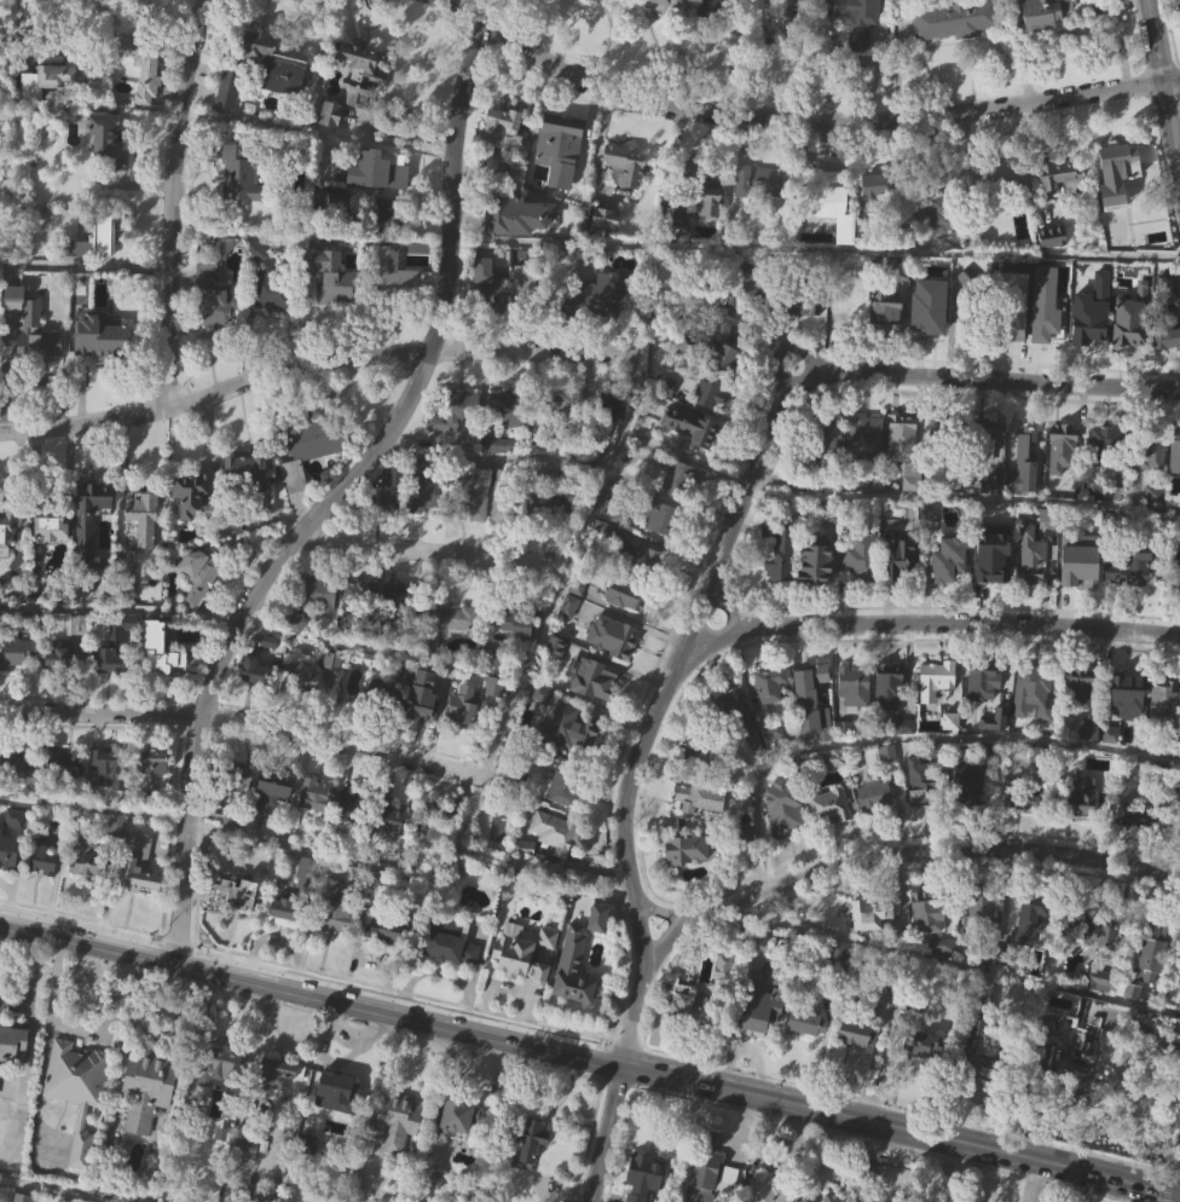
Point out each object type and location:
building: (1175, 2)
building: (665, 4)
building: (718, 10)
building: (600, 11)
building: (1046, 13)
building: (855, 18)
building: (956, 19)
building: (785, 23)
building: (665, 28)
building: (715, 30)
building: (1042, 34)
building: (955, 53)
building: (262, 68)
building: (145, 69)
building: (361, 71)
building: (47, 80)
road: (1164, 82)
building: (273, 94)
building: (361, 104)
building: (48, 112)
building: (328, 115)
building: (503, 119)
road: (796, 120)
building: (230, 121)
road: (314, 134)
building: (108, 139)
building: (336, 148)
building: (561, 148)
building: (626, 162)
building: (1122, 164)
building: (109, 171)
building: (382, 172)
building: (241, 174)
building: (508, 177)
building: (1058, 177)
building: (999, 178)
building: (560, 181)
building: (759, 181)
building: (705, 190)
building: (878, 190)
building: (826, 193)
building: (1120, 193)
building: (626, 196)
road: (173, 201)
building: (380, 203)
building: (999, 206)
building: (242, 207)
building: (383, 212)
building: (1060, 212)
building: (760, 213)
building: (947, 213)
building: (515, 215)
building: (606, 218)
building: (673, 223)
building: (330, 233)
building: (707, 235)
building: (832, 236)
building: (96, 238)
building: (1053, 238)
building: (387, 247)
building: (942, 247)
building: (514, 248)
building: (606, 250)
road: (86, 262)
building: (748, 264)
building: (105, 268)
building: (1053, 270)
building: (332, 276)
building: (268, 282)
building: (392, 284)
building: (487, 288)
building: (533, 294)
building: (598, 296)
building: (215, 297)
building: (800, 300)
building: (971, 305)
building: (392, 306)
building: (334, 308)
building: (1156, 312)
building: (1030, 314)
building: (885, 316)
building: (724, 317)
building: (526, 322)
building: (271, 325)
building: (31, 326)
building: (482, 328)
building: (926, 328)
building: (216, 329)
building: (600, 329)
building: (1088, 329)
building: (1122, 333)
building: (102, 336)
building: (1016, 337)
building: (1047, 339)
building: (886, 345)
building: (711, 352)
building: (33, 359)
building: (1129, 359)
road: (312, 363)
building: (105, 369)
building: (1165, 369)
road: (991, 381)
building: (711, 392)
building: (508, 409)
building: (452, 415)
building: (554, 420)
building: (602, 420)
building: (693, 427)
building: (902, 438)
building: (864, 439)
building: (949, 439)
building: (508, 443)
building: (1105, 443)
building: (981, 445)
building: (1062, 445)
building: (307, 447)
building: (1150, 450)
building: (1175, 451)
building: (815, 455)
road: (488, 458)
building: (689, 458)
building: (1025, 462)
building: (1071, 468)
building: (248, 472)
building: (864, 472)
building: (1106, 472)
building: (828, 473)
building: (314, 474)
building: (912, 478)
building: (679, 480)
building: (1175, 485)
building: (993, 489)
building: (1147, 489)
building: (389, 490)
building: (424, 490)
building: (193, 492)
building: (1106, 493)
building: (472, 495)
road: (962, 495)
road: (336, 496)
building: (510, 496)
building: (247, 501)
building: (553, 503)
building: (46, 514)
building: (1022, 514)
building: (141, 516)
building: (391, 520)
building: (666, 520)
building: (8, 524)
building: (1098, 524)
building: (91, 527)
building: (191, 527)
building: (1155, 527)
building: (428, 528)
building: (475, 536)
building: (932, 544)
building: (144, 549)
building: (664, 551)
building: (780, 551)
building: (91, 553)
road: (430, 553)
building: (995, 554)
building: (862, 557)
building: (641, 559)
building: (52, 560)
building: (900, 560)
building: (950, 560)
building: (6, 564)
building: (1034, 564)
building: (815, 565)
building: (1132, 567)
road: (565, 570)
building: (1080, 570)
building: (197, 574)
building: (125, 584)
building: (781, 588)
building: (1176, 588)
building: (861, 589)
building: (903, 590)
building: (1034, 591)
building: (815, 593)
building: (949, 593)
building: (627, 595)
building: (307, 597)
building: (1133, 599)
building: (397, 600)
building: (357, 601)
building: (1078, 605)
road: (722, 607)
building: (198, 608)
road: (117, 609)
building: (510, 614)
building: (451, 619)
building: (318, 623)
road: (929, 624)
building: (372, 630)
building: (612, 636)
building: (571, 638)
building: (563, 647)
building: (12, 648)
building: (162, 648)
building: (296, 652)
building: (517, 654)
building: (446, 655)
building: (64, 657)
building: (490, 659)
building: (111, 663)
building: (612, 668)
building: (258, 672)
building: (302, 675)
building: (815, 677)
building: (983, 677)
building: (557, 678)
building: (594, 678)
building: (937, 678)
building: (161, 681)
building: (890, 684)
building: (1124, 684)
building: (773, 686)
building: (855, 686)
building: (1077, 686)
building: (15, 687)
building: (64, 689)
building: (110, 690)
building: (334, 690)
building: (1034, 693)
building: (382, 694)
building: (423, 701)
building: (255, 703)
building: (301, 707)
building: (470, 710)
building: (594, 710)
building: (1162, 710)
building: (937, 712)
building: (734, 716)
building: (982, 716)
building: (493, 717)
building: (854, 718)
building: (1080, 721)
road: (244, 724)
building: (889, 724)
building: (383, 726)
building: (1034, 726)
building: (423, 727)
building: (569, 727)
building: (1128, 728)
building: (774, 732)
building: (812, 734)
building: (465, 738)
road: (910, 738)
building: (705, 751)
building: (740, 751)
building: (950, 753)
building: (903, 758)
building: (571, 759)
building: (152, 762)
building: (62, 764)
building: (773, 764)
building: (1088, 764)
building: (17, 765)
building: (1110, 769)
building: (109, 772)
building: (976, 772)
building: (239, 774)
road: (627, 774)
building: (566, 779)
building: (276, 781)
building: (700, 781)
building: (922, 782)
building: (316, 790)
building: (155, 794)
building: (874, 794)
building: (66, 797)
building: (1024, 797)
building: (23, 799)
building: (702, 799)
building: (1086, 802)
building: (108, 804)
building: (357, 804)
building: (242, 805)
building: (831, 805)
building: (785, 808)
building: (566, 815)
building: (1127, 815)
building: (395, 816)
building: (970, 816)
building: (432, 817)
building: (273, 821)
building: (875, 826)
road: (216, 828)
building: (1081, 828)
building: (316, 830)
building: (556, 830)
building: (699, 830)
building: (1022, 831)
building: (351, 834)
building: (1179, 836)
building: (831, 838)
building: (783, 839)
building: (687, 846)
building: (393, 848)
building: (8, 851)
road: (895, 853)
building: (42, 856)
building: (86, 859)
building: (556, 863)
building: (138, 865)
building: (8, 879)
building: (525, 879)
building: (688, 880)
building: (87, 888)
building: (237, 895)
building: (139, 896)
building: (985, 907)
building: (339, 908)
building: (285, 911)
building: (927, 911)
road: (667, 912)
building: (881, 912)
building: (1032, 917)
building: (601, 918)
building: (236, 925)
building: (1091, 926)
building: (387, 927)
building: (287, 943)
building: (929, 944)
building: (337, 946)
building: (451, 946)
building: (872, 946)
building: (1155, 948)
building: (598, 949)
building: (525, 950)
building: (1030, 953)
building: (990, 954)
building: (839, 957)
building: (1179, 957)
building: (384, 960)
building: (1091, 960)
road: (951, 963)
road: (33, 967)
building: (574, 969)
building: (450, 973)
building: (1098, 976)
road: (53, 978)
building: (942, 979)
building: (524, 982)
building: (840, 984)
building: (1151, 984)
building: (574, 999)
building: (700, 1006)
road: (15, 1007)
building: (1098, 1011)
road: (109, 1019)
building: (809, 1021)
building: (856, 1033)
building: (758, 1038)
building: (983, 1040)
building: (12, 1042)
building: (920, 1042)
road: (29, 1053)
building: (808, 1054)
road: (590, 1056)
building: (222, 1061)
building: (1065, 1061)
building: (855, 1065)
building: (277, 1073)
building: (13, 1075)
building: (924, 1077)
road: (37, 1087)
building: (146, 1087)
building: (342, 1087)
building: (77, 1088)
building: (987, 1091)
building: (1070, 1091)
building: (221, 1098)
building: (279, 1105)
building: (457, 1116)
building: (398, 1119)
building: (79, 1121)
building: (147, 1122)
building: (339, 1123)
building: (531, 1137)
building: (247, 1142)
building: (462, 1150)
building: (399, 1154)
building: (707, 1163)
road: (945, 1171)
building: (530, 1174)
building: (644, 1175)
building: (250, 1177)
road: (1165, 1177)
building: (312, 1179)
building: (428, 1179)
road: (56, 1190)
building: (770, 1190)
building: (18, 1200)
building: (384, 1200)

